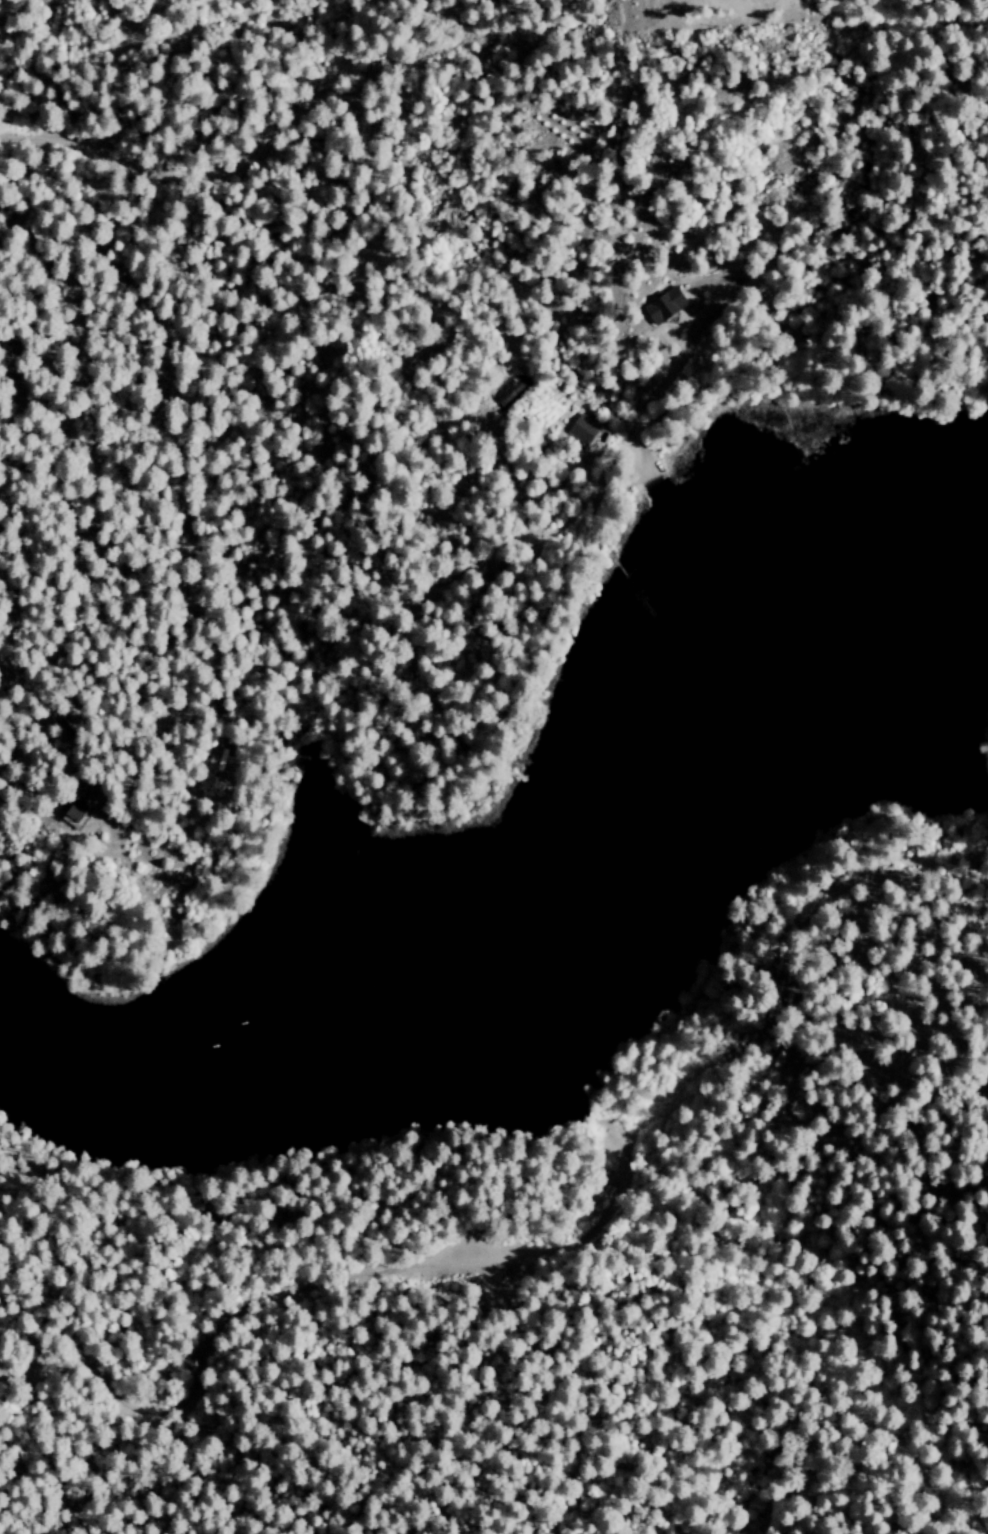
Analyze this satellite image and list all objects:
building: (663, 305)
road: (374, 336)
road: (822, 356)
building: (582, 430)
building: (74, 815)
road: (213, 1363)

